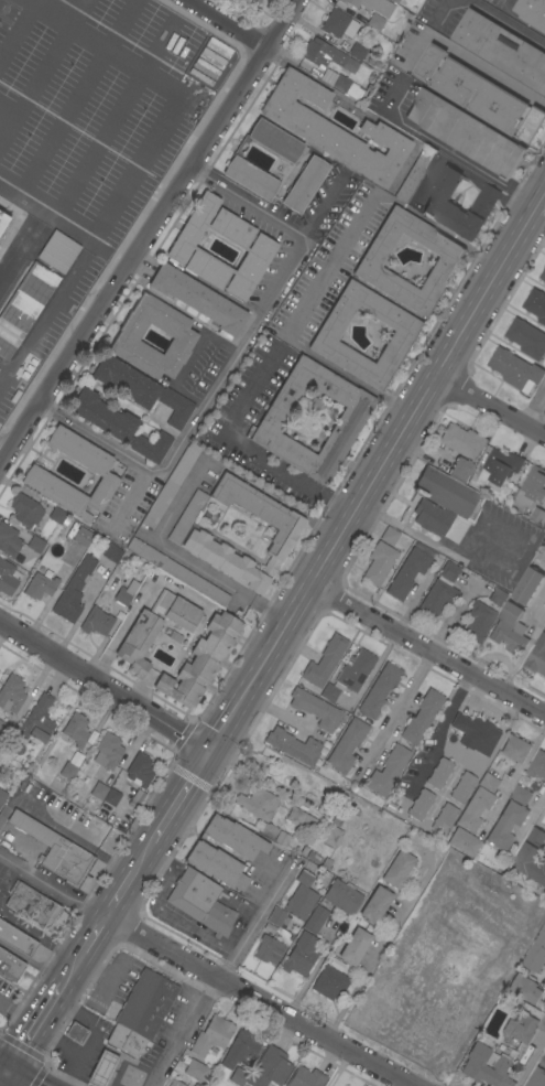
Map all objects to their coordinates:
building: (251, 1)
building: (396, 1)
building: (372, 6)
road: (61, 7)
road: (440, 11)
building: (532, 12)
road: (510, 20)
building: (374, 21)
building: (338, 24)
road: (224, 28)
road: (19, 32)
road: (106, 46)
building: (502, 49)
building: (358, 50)
building: (321, 53)
road: (468, 60)
road: (43, 72)
building: (347, 87)
road: (76, 90)
building: (480, 95)
parking lot: (92, 109)
road: (364, 111)
road: (6, 114)
road: (115, 114)
road: (6, 127)
building: (334, 129)
building: (466, 133)
road: (443, 149)
building: (237, 161)
building: (414, 173)
building: (304, 184)
road: (250, 202)
building: (440, 204)
road: (107, 209)
building: (4, 222)
road: (151, 236)
road: (24, 238)
building: (262, 247)
building: (57, 250)
building: (370, 262)
road: (328, 267)
building: (543, 276)
building: (198, 299)
building: (536, 304)
building: (24, 307)
parking lot: (45, 329)
building: (326, 335)
building: (183, 336)
building: (526, 338)
building: (515, 369)
road: (183, 374)
road: (216, 380)
building: (142, 389)
building: (310, 404)
road: (489, 406)
road: (534, 407)
building: (352, 416)
building: (119, 426)
building: (462, 441)
road: (7, 447)
road: (244, 448)
building: (503, 465)
building: (460, 469)
road: (379, 470)
building: (37, 474)
building: (170, 485)
building: (533, 486)
road: (127, 498)
building: (444, 504)
building: (25, 509)
building: (57, 516)
building: (537, 516)
building: (285, 533)
building: (83, 536)
building: (389, 536)
building: (9, 540)
building: (35, 544)
building: (111, 552)
road: (186, 556)
building: (379, 563)
building: (410, 570)
building: (177, 572)
building: (8, 577)
building: (528, 585)
building: (40, 587)
building: (74, 591)
building: (440, 591)
building: (126, 592)
building: (483, 615)
building: (96, 622)
building: (154, 628)
building: (510, 630)
road: (428, 650)
road: (523, 654)
building: (537, 657)
building: (200, 660)
building: (325, 660)
building: (350, 675)
road: (105, 687)
building: (379, 690)
building: (11, 693)
road: (402, 706)
building: (316, 709)
building: (422, 717)
building: (37, 721)
building: (75, 730)
building: (471, 731)
building: (4, 732)
road: (439, 732)
building: (293, 745)
building: (347, 745)
building: (516, 749)
building: (107, 751)
building: (72, 765)
building: (537, 765)
building: (140, 771)
building: (388, 771)
building: (439, 773)
road: (515, 776)
building: (488, 782)
building: (462, 787)
building: (98, 791)
building: (521, 794)
road: (182, 795)
building: (2, 796)
building: (111, 797)
building: (135, 798)
building: (258, 803)
building: (421, 805)
building: (475, 809)
building: (314, 813)
building: (446, 814)
building: (338, 817)
building: (301, 819)
building: (77, 821)
building: (506, 825)
building: (269, 831)
building: (330, 835)
building: (233, 837)
building: (282, 838)
building: (464, 842)
building: (52, 848)
road: (144, 856)
building: (533, 857)
building: (217, 864)
building: (397, 869)
building: (306, 874)
road: (120, 895)
building: (344, 897)
building: (201, 902)
building: (301, 902)
building: (32, 905)
building: (375, 905)
building: (277, 917)
building: (315, 920)
building: (269, 928)
road: (95, 935)
building: (15, 938)
building: (353, 947)
building: (269, 949)
building: (536, 953)
building: (299, 955)
road: (369, 964)
building: (9, 966)
road: (73, 968)
road: (224, 971)
road: (205, 972)
road: (310, 974)
building: (330, 982)
building: (524, 988)
building: (145, 1003)
road: (18, 1017)
building: (521, 1029)
road: (33, 1030)
building: (76, 1032)
road: (92, 1035)
building: (211, 1035)
building: (126, 1041)
road: (58, 1043)
building: (240, 1049)
road: (122, 1057)
road: (531, 1063)
building: (486, 1067)
building: (102, 1068)
building: (269, 1068)
building: (196, 1071)
road: (146, 1072)
road: (2, 1074)
building: (237, 1076)
building: (538, 1076)
building: (305, 1077)
road: (2, 1079)
road: (15, 1080)
building: (175, 1083)
building: (194, 1085)
building: (195, 1085)

